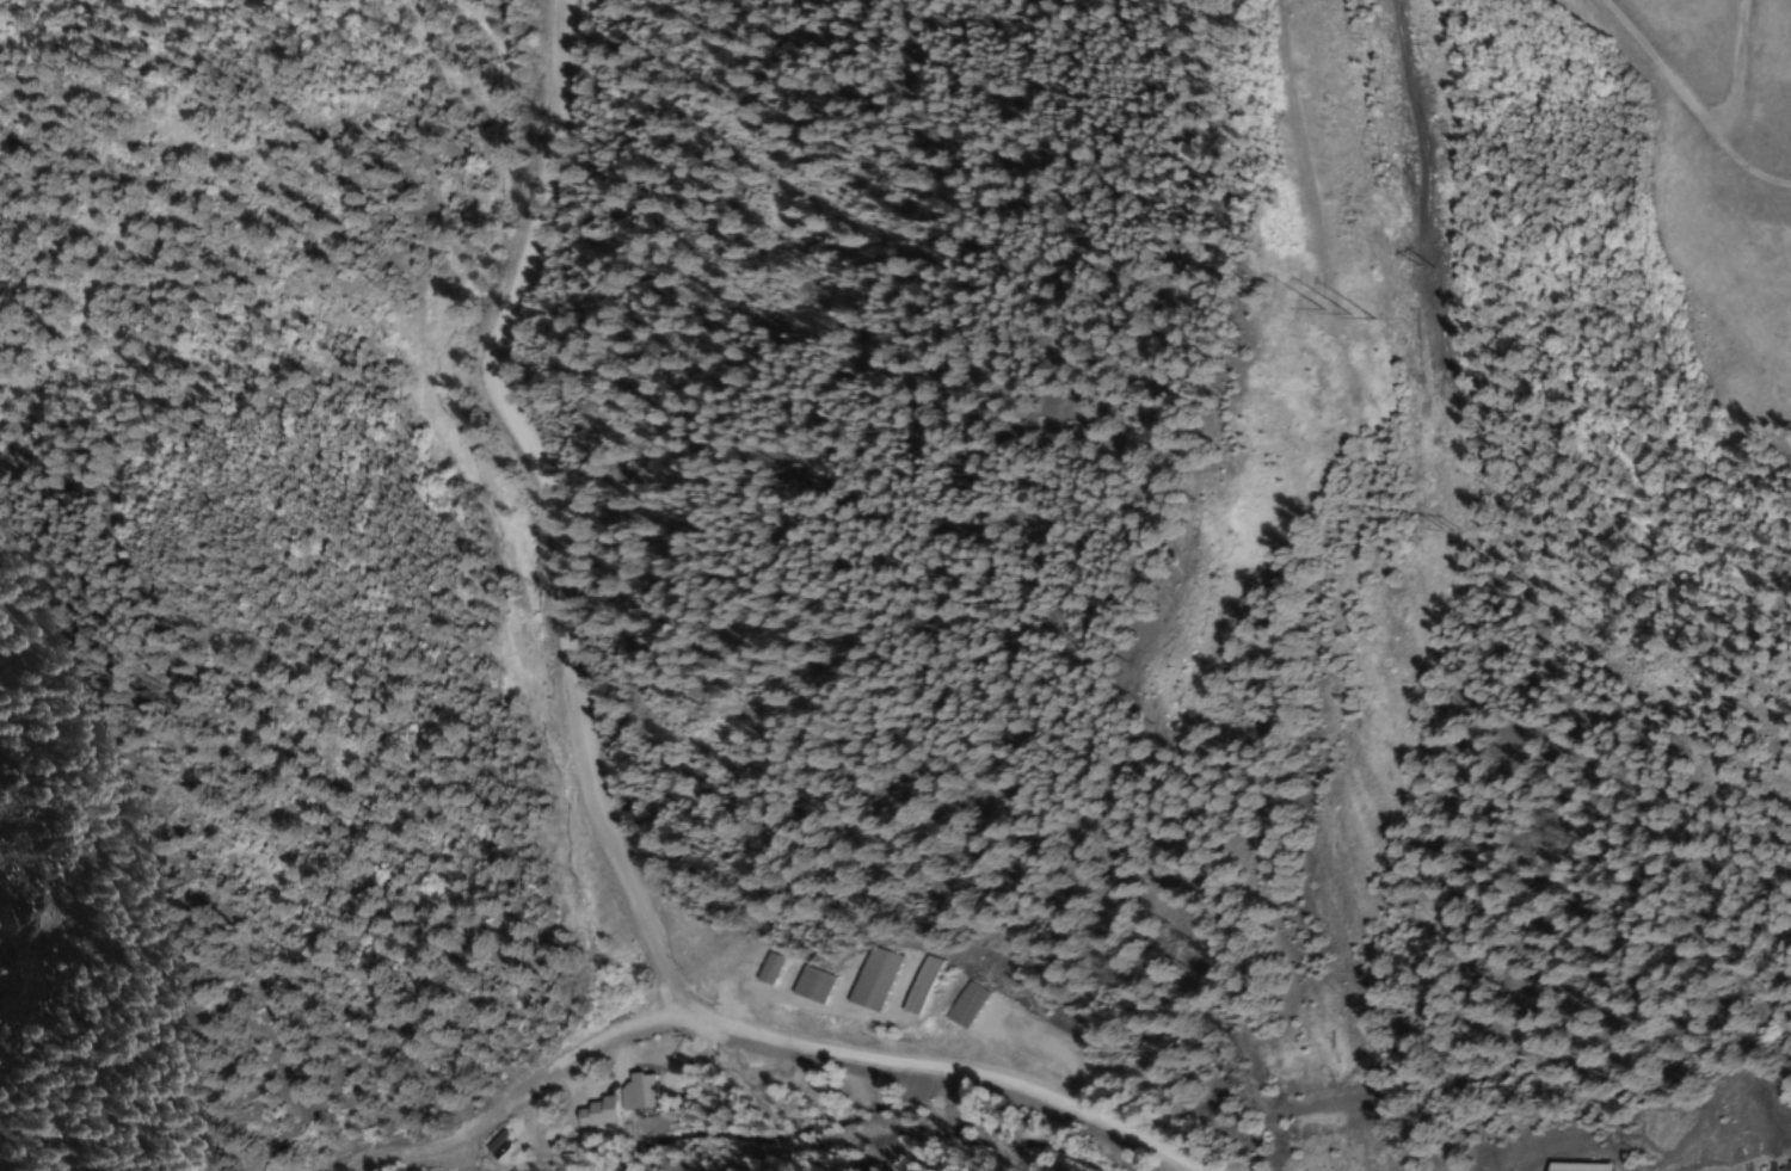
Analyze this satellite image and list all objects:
building: (548, 191)
power tower: (1342, 313)
road: (555, 507)
building: (764, 969)
building: (867, 979)
building: (806, 985)
building: (913, 986)
building: (960, 1005)
road: (782, 1039)
building: (638, 1091)
building: (1569, 1166)

